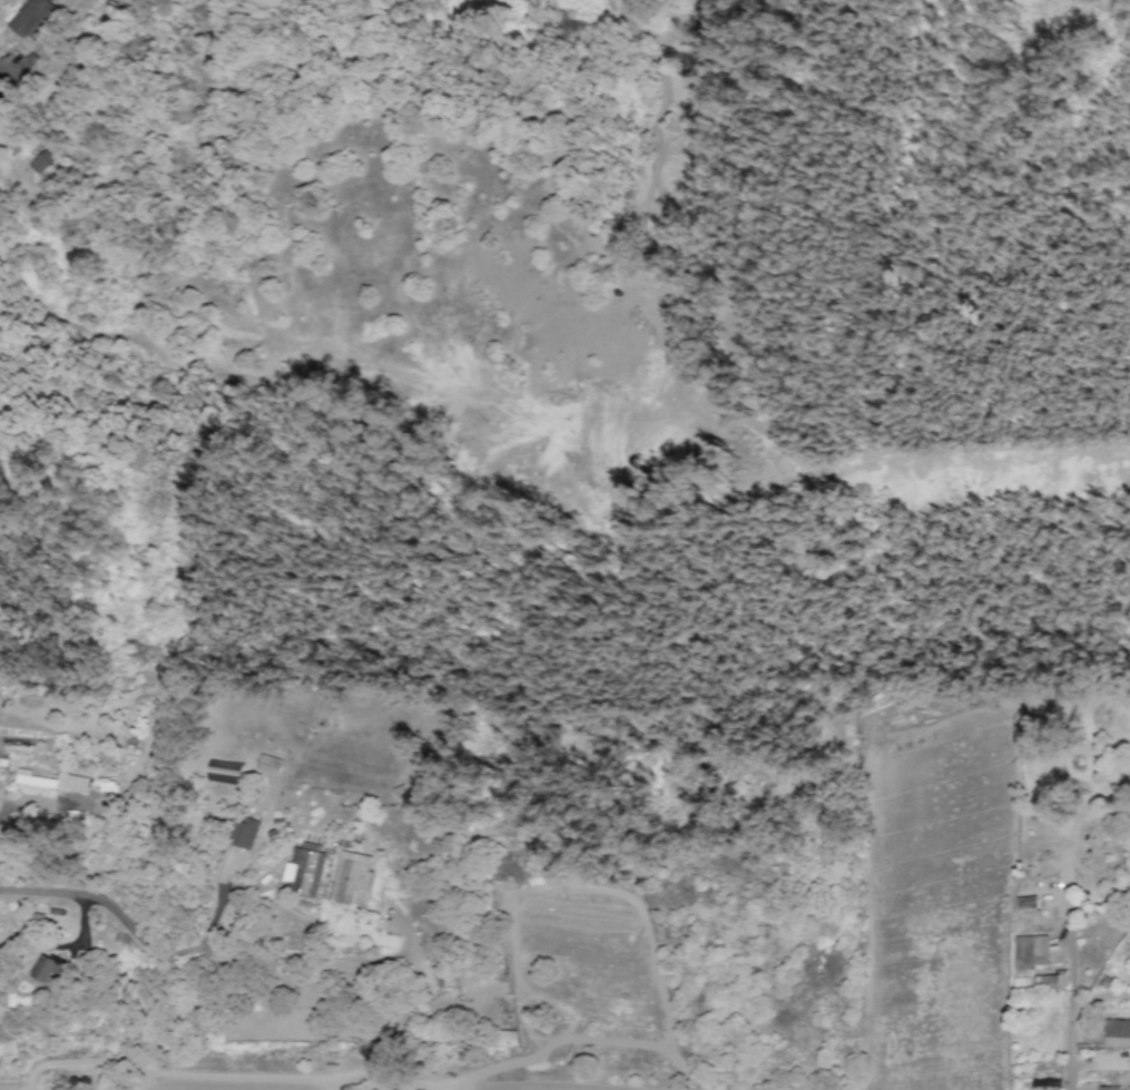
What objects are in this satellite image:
building: (35, 18)
power tower: (190, 87)
building: (1, 89)
building: (40, 161)
power tower: (146, 658)
building: (268, 764)
building: (51, 782)
building: (244, 832)
building: (304, 867)
building: (351, 877)
road: (120, 915)
road: (338, 959)
building: (1032, 965)
building: (46, 966)
road: (1070, 1011)
building: (1117, 1032)
building: (507, 1038)
building: (1108, 1088)

